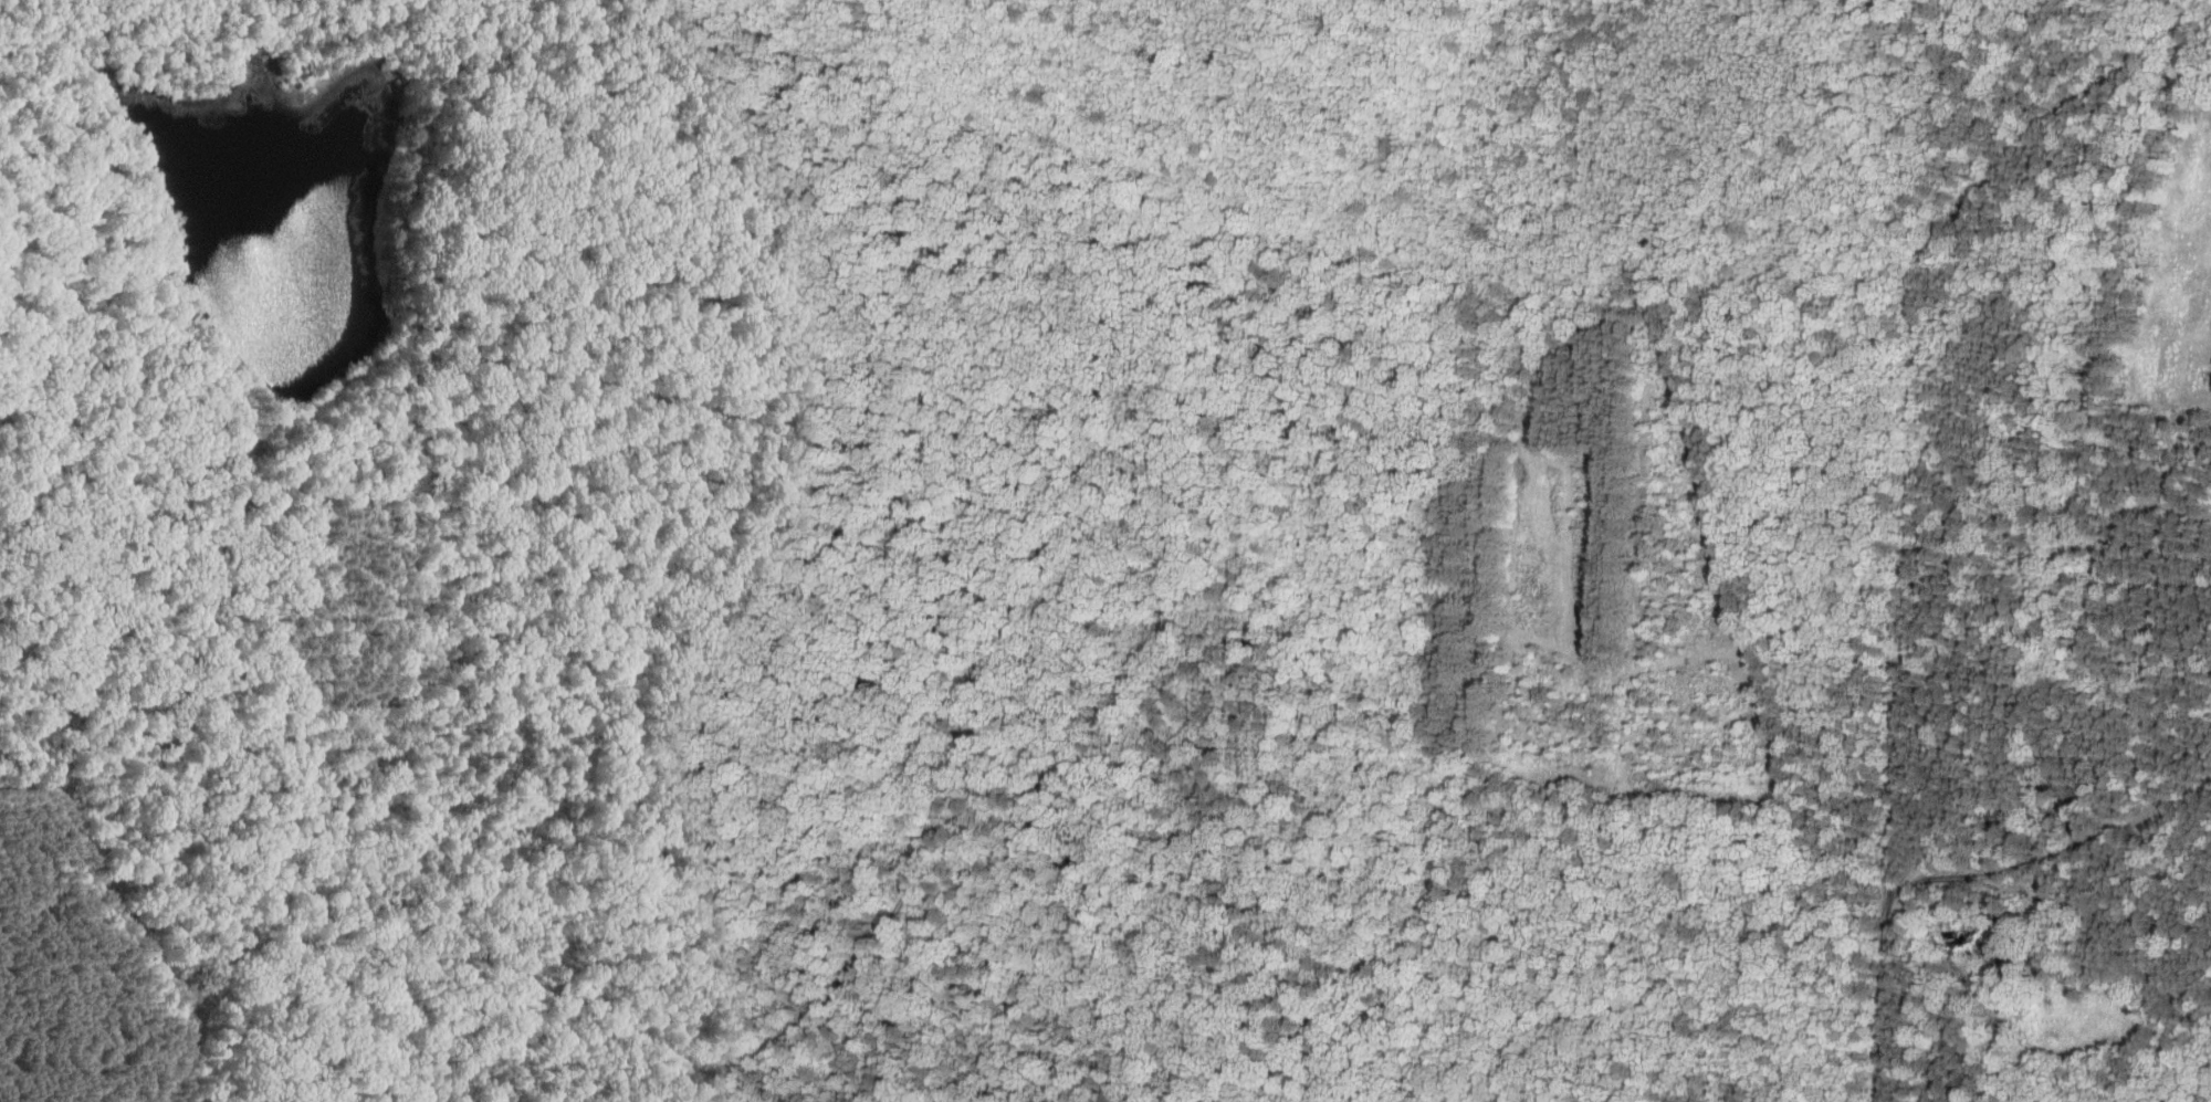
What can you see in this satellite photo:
road: (1878, 496)

